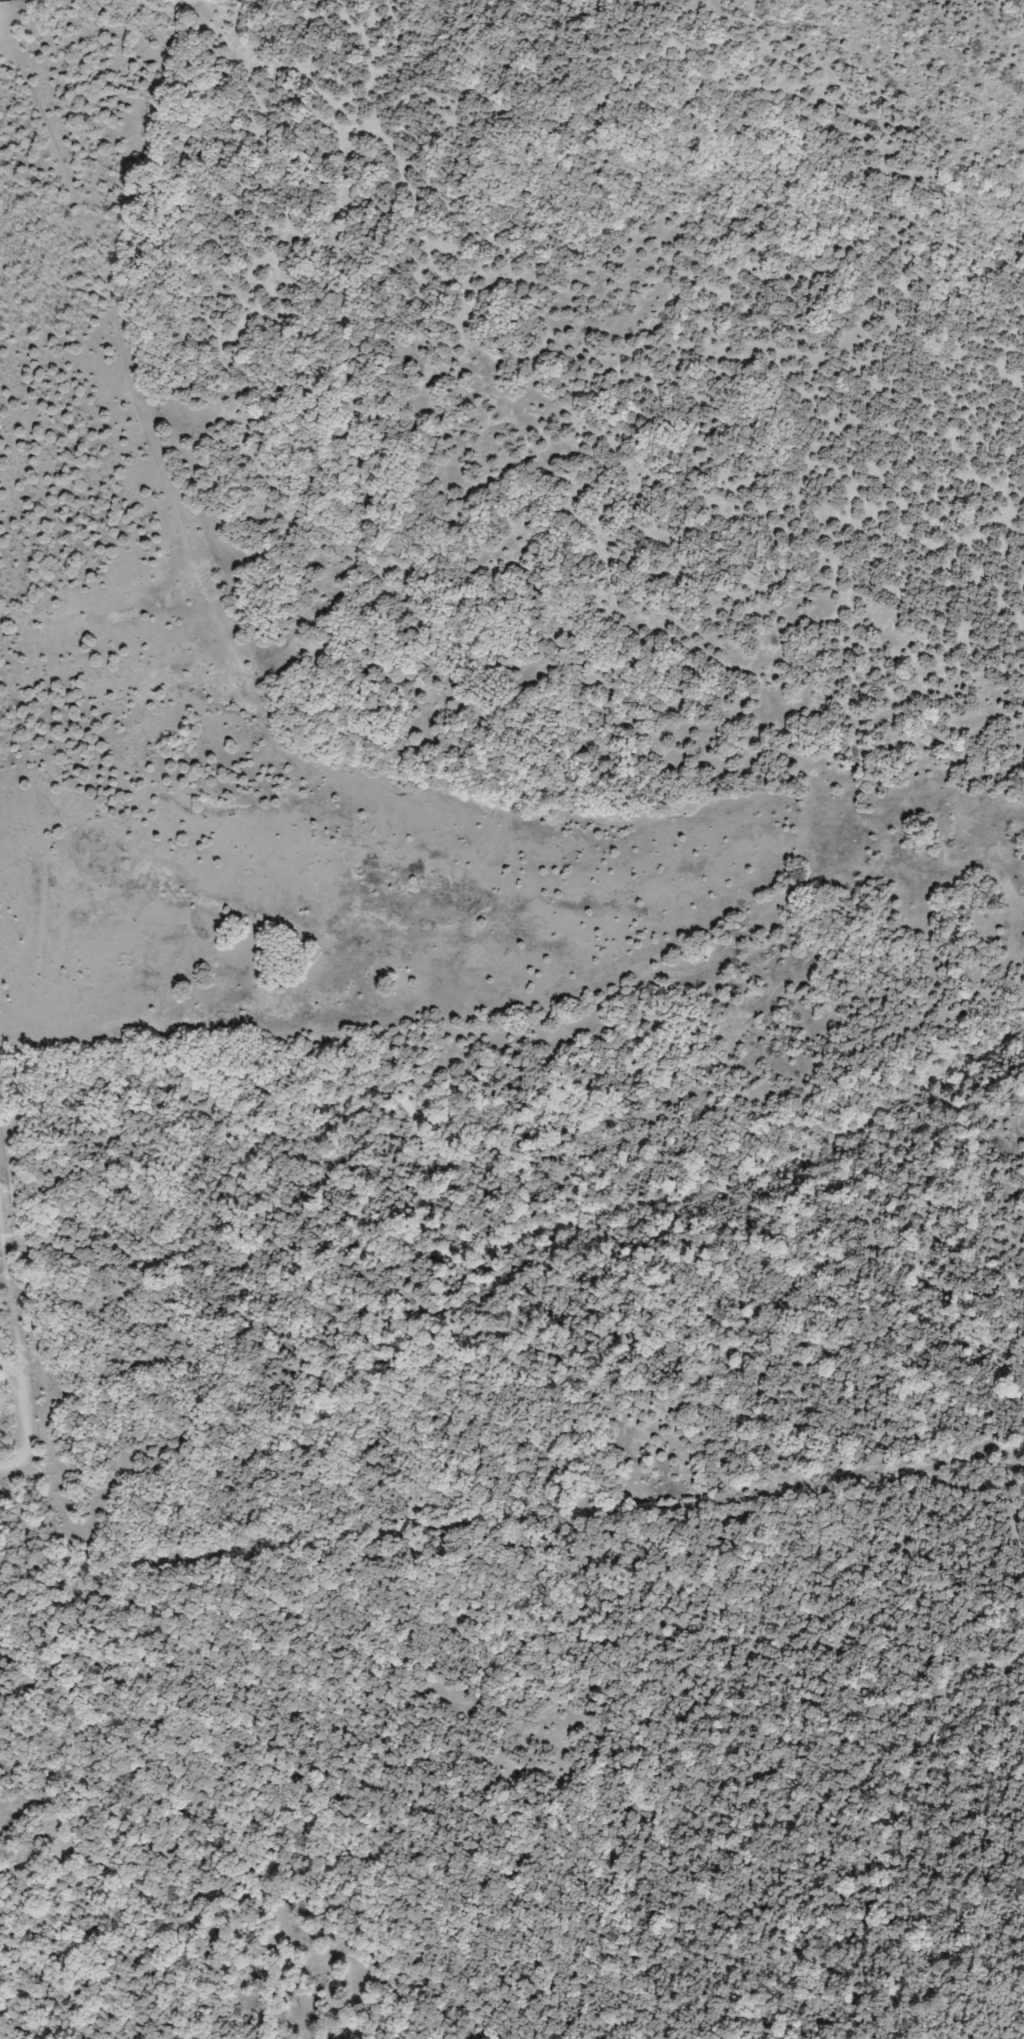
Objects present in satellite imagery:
park: (18, 1349)
road: (25, 1417)

